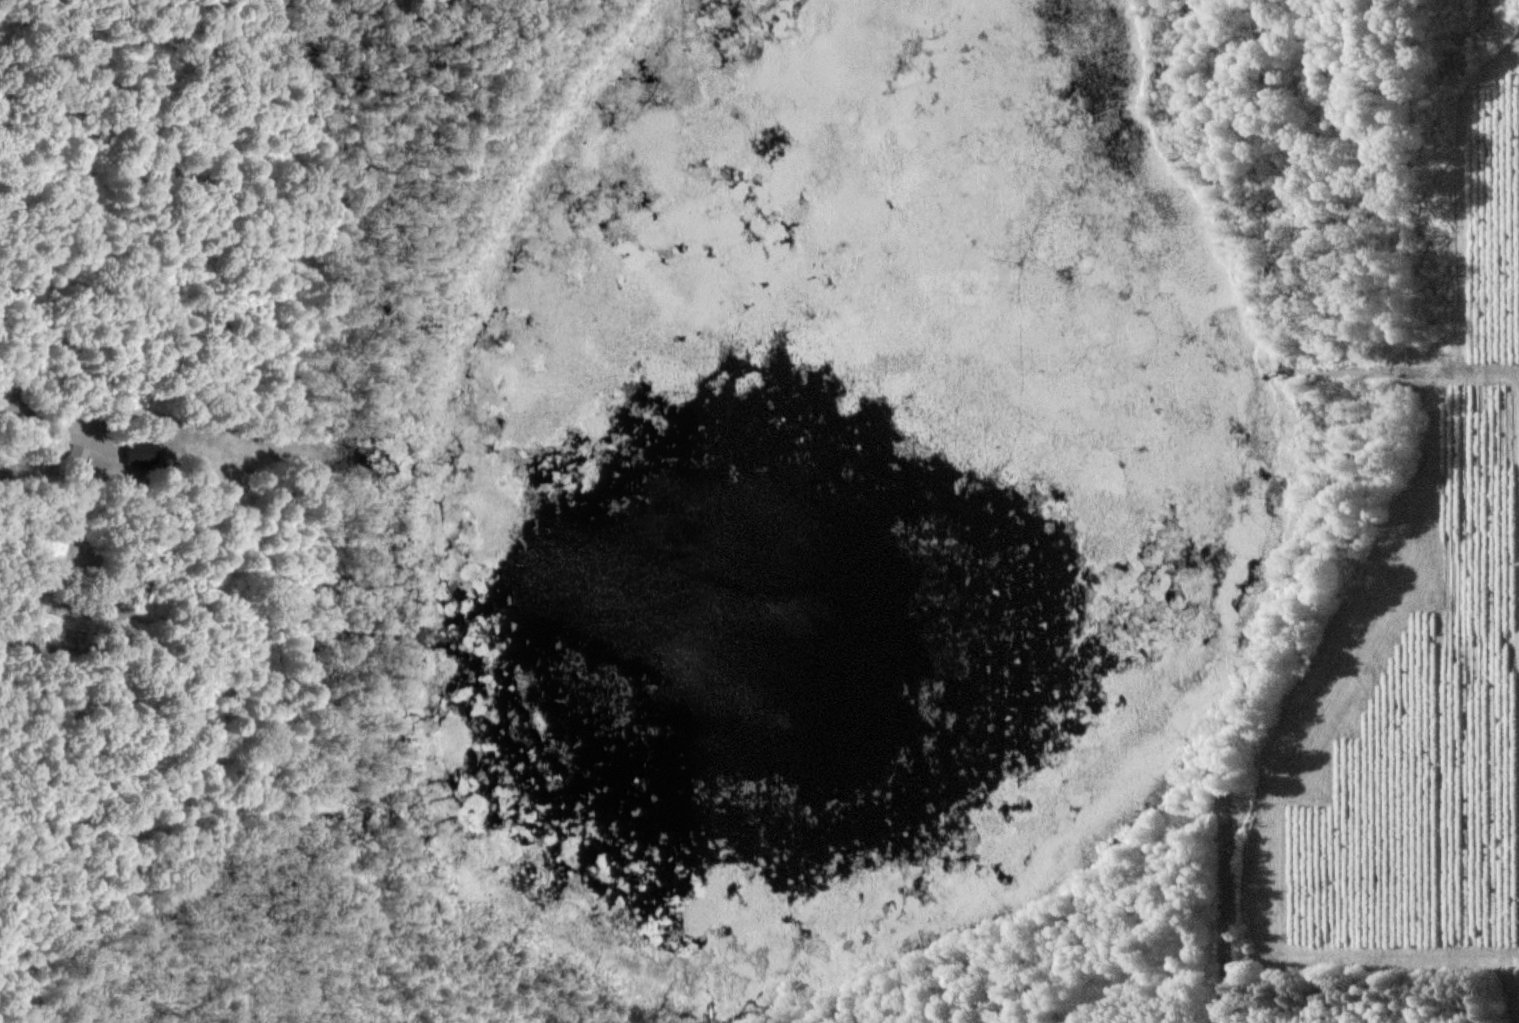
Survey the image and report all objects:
road: (21, 415)
road: (108, 437)
building: (140, 453)
building: (76, 454)
road: (48, 605)
road: (1229, 912)

